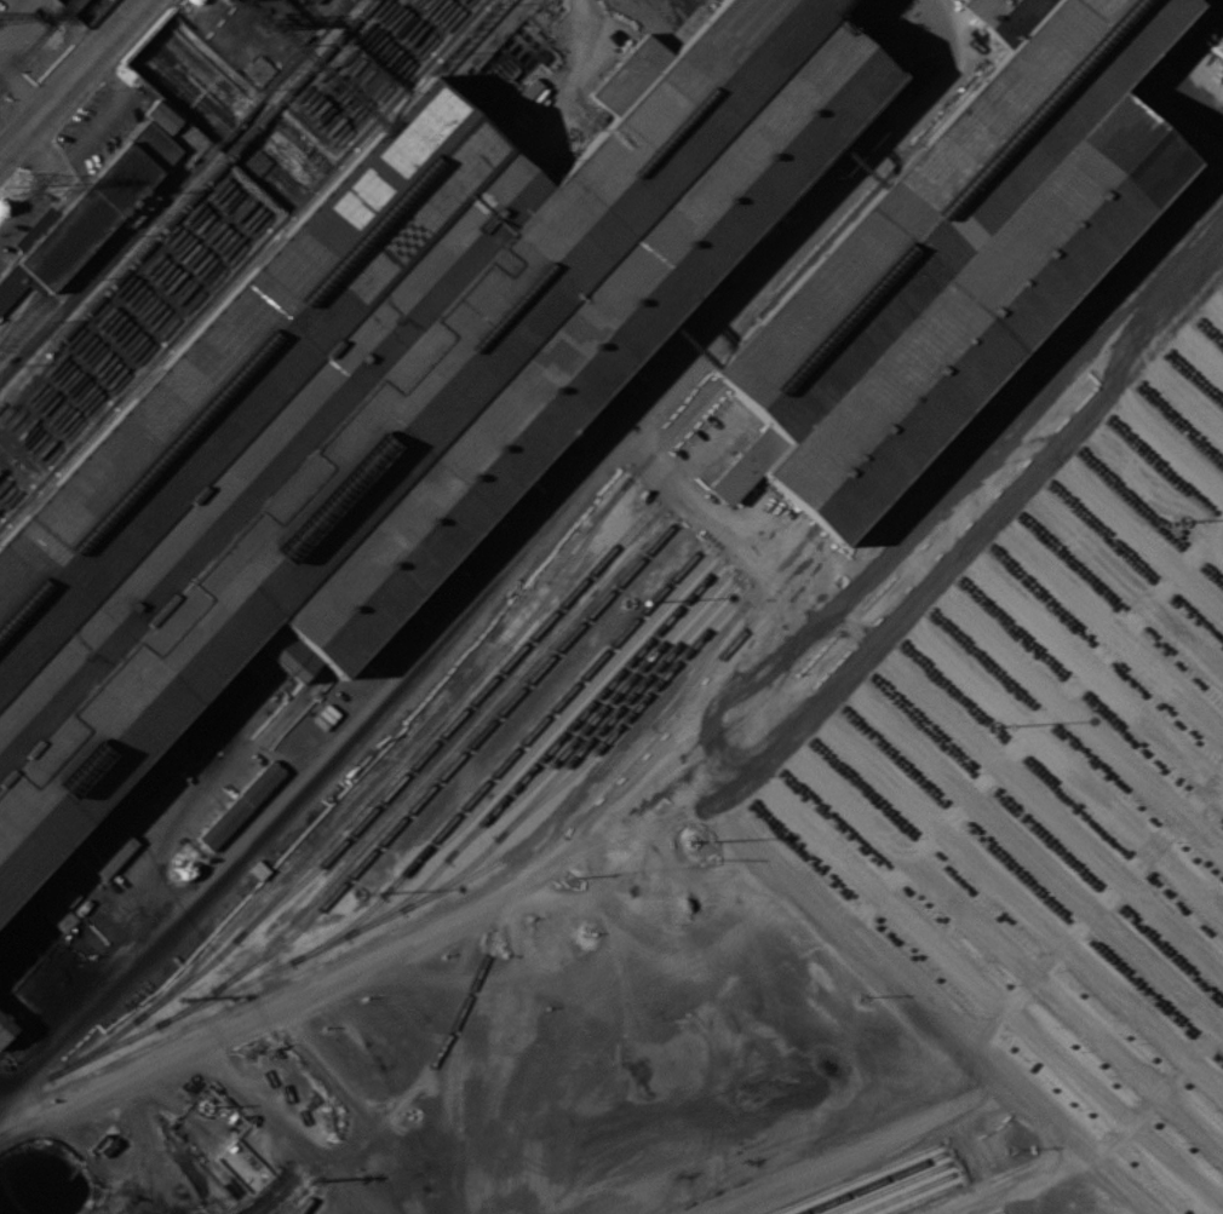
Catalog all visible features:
railway: (39, 41)
railway: (28, 48)
road: (1164, 63)
building: (259, 69)
road: (111, 74)
road: (75, 81)
building: (527, 91)
building: (162, 114)
road: (94, 127)
road: (41, 150)
road: (29, 195)
railway: (188, 202)
building: (97, 205)
building: (958, 255)
road: (1138, 282)
building: (386, 392)
road: (1045, 395)
road: (1029, 566)
building: (440, 594)
railway: (700, 663)
road: (751, 663)
railway: (457, 715)
railway: (592, 717)
railway: (626, 717)
railway: (551, 726)
railway: (397, 744)
railway: (576, 752)
railway: (444, 754)
railway: (540, 756)
railway: (505, 759)
railway: (398, 764)
railway: (430, 787)
building: (240, 805)
road: (970, 879)
railway: (457, 882)
railway: (463, 896)
railway: (447, 1035)
railway: (454, 1074)
road: (281, 1127)
railway: (852, 1178)
railway: (872, 1183)
railway: (889, 1189)
railway: (905, 1193)
railway: (924, 1199)
road: (366, 1204)
railway: (304, 1206)

